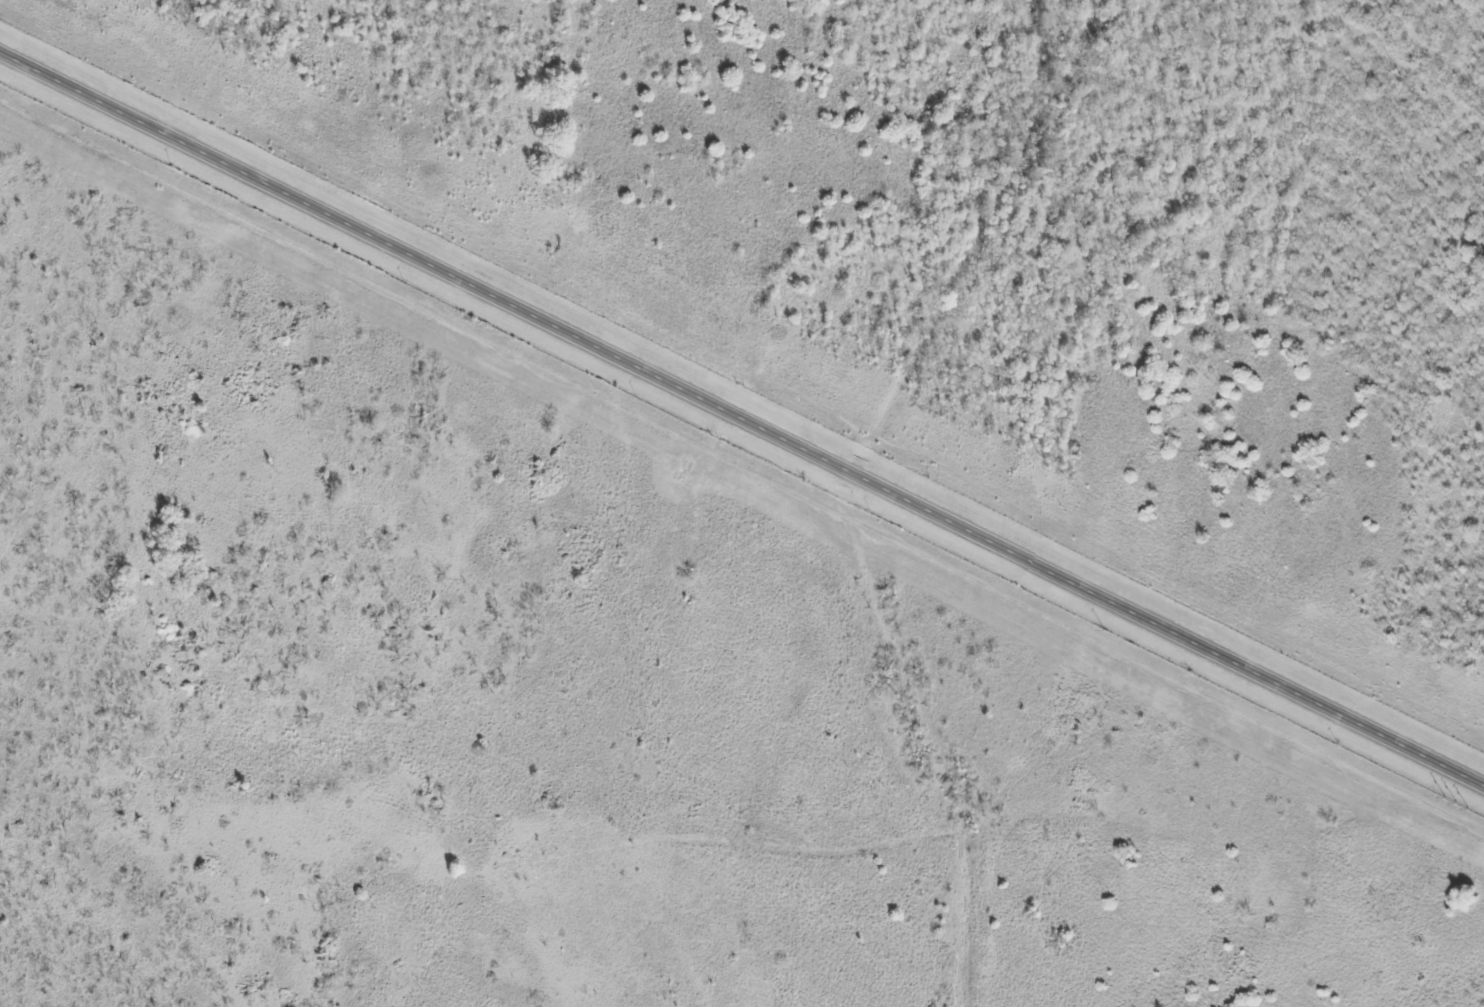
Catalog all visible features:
road: (742, 413)

